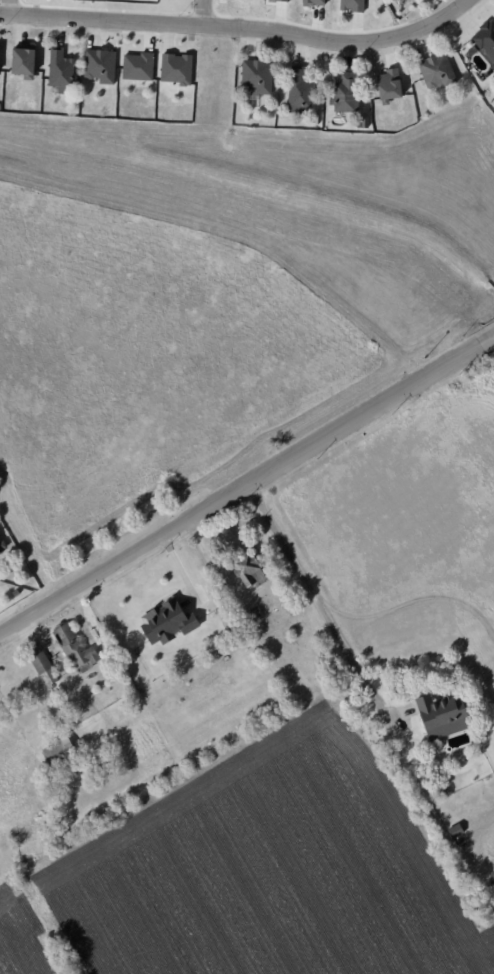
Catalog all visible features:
building: (277, 0)
building: (311, 2)
building: (351, 5)
road: (9, 7)
road: (203, 13)
road: (239, 28)
building: (485, 39)
building: (20, 62)
building: (99, 65)
building: (136, 66)
building: (175, 68)
building: (59, 69)
building: (436, 71)
building: (255, 76)
building: (387, 85)
building: (300, 92)
building: (345, 93)
road: (246, 481)
building: (1, 548)
building: (245, 570)
road: (320, 598)
building: (164, 622)
building: (73, 646)
building: (42, 667)
building: (439, 715)
building: (58, 754)

